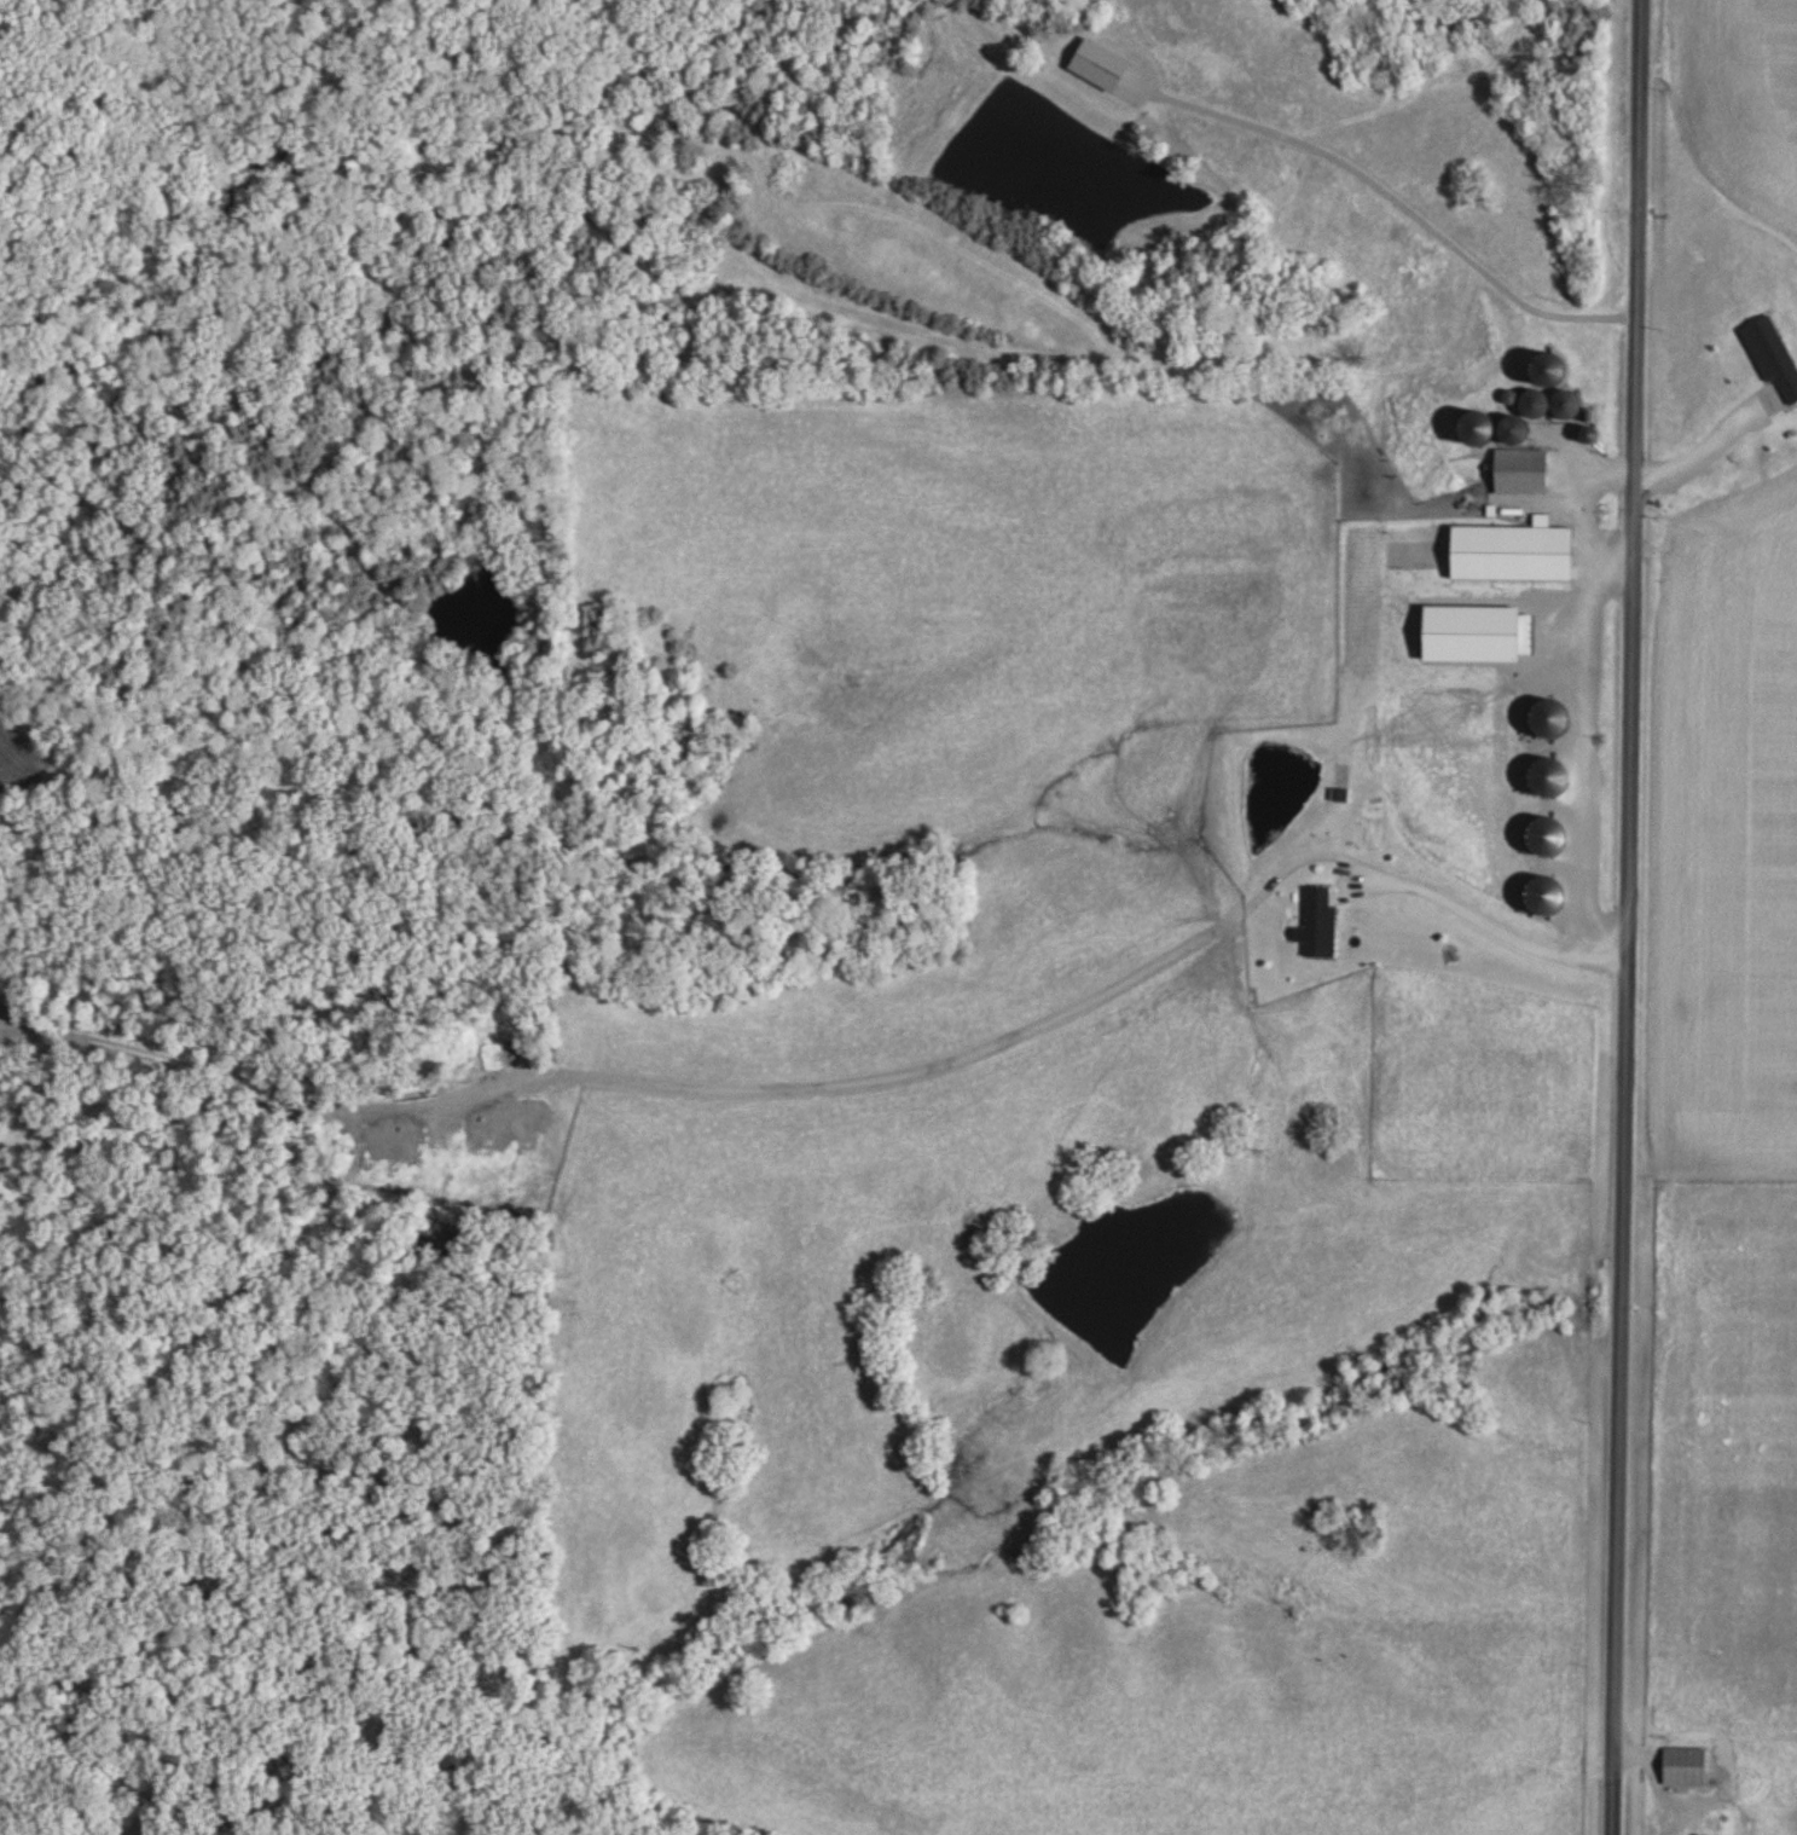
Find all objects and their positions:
building: (1549, 403)
building: (1514, 427)
building: (1711, 444)
building: (1520, 470)
building: (1513, 551)
road: (1627, 916)
building: (1318, 921)
building: (1685, 1766)

